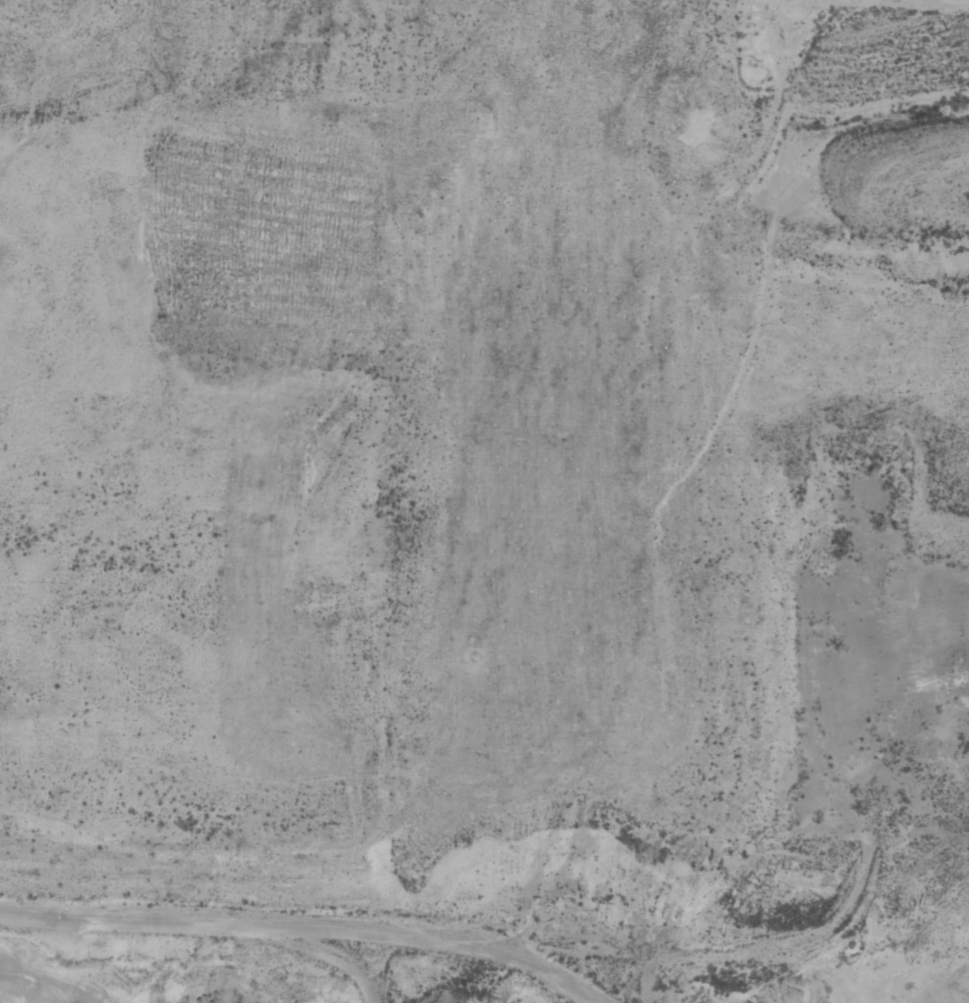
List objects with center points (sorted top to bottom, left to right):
road: (484, 953)

